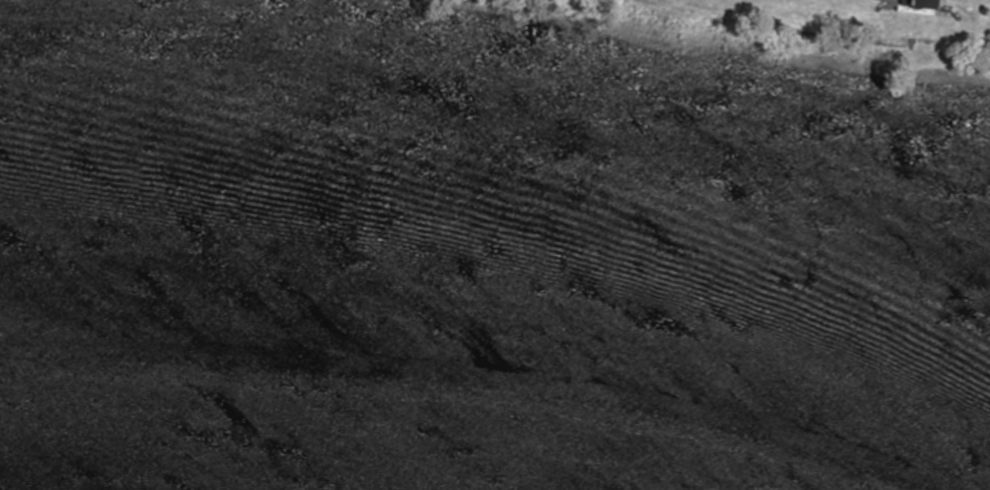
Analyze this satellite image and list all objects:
building: (924, 4)

